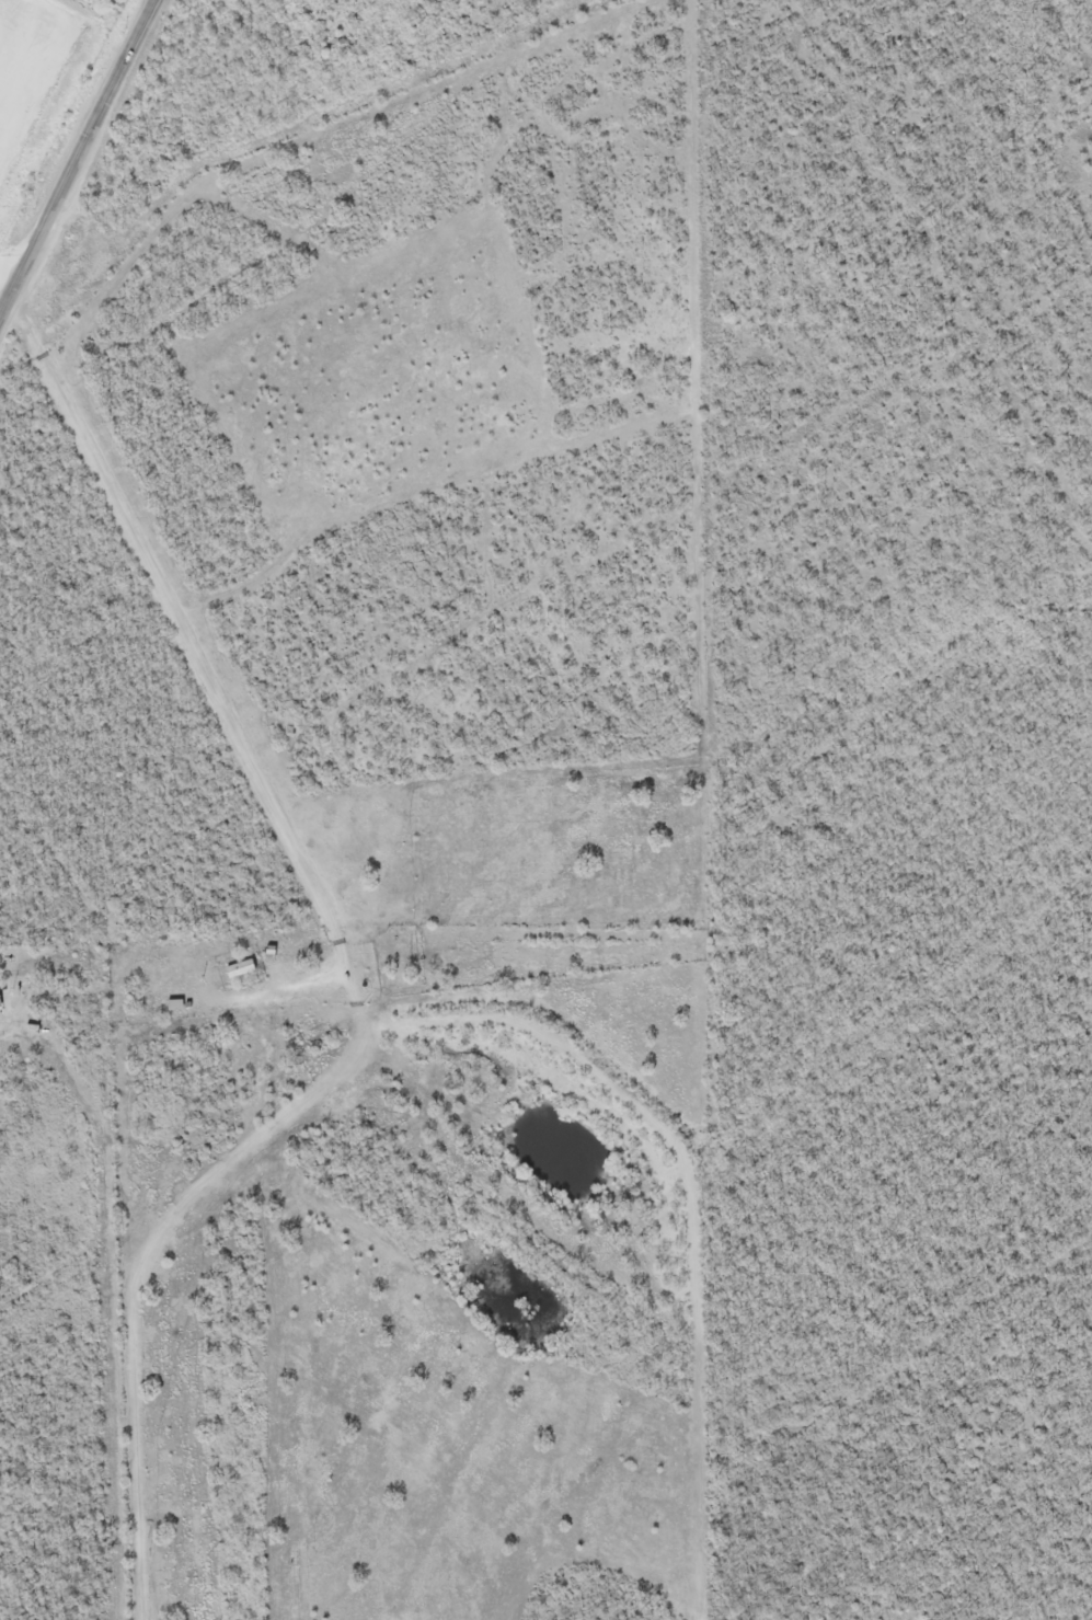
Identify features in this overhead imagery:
road: (81, 165)
building: (240, 967)
building: (174, 1003)

